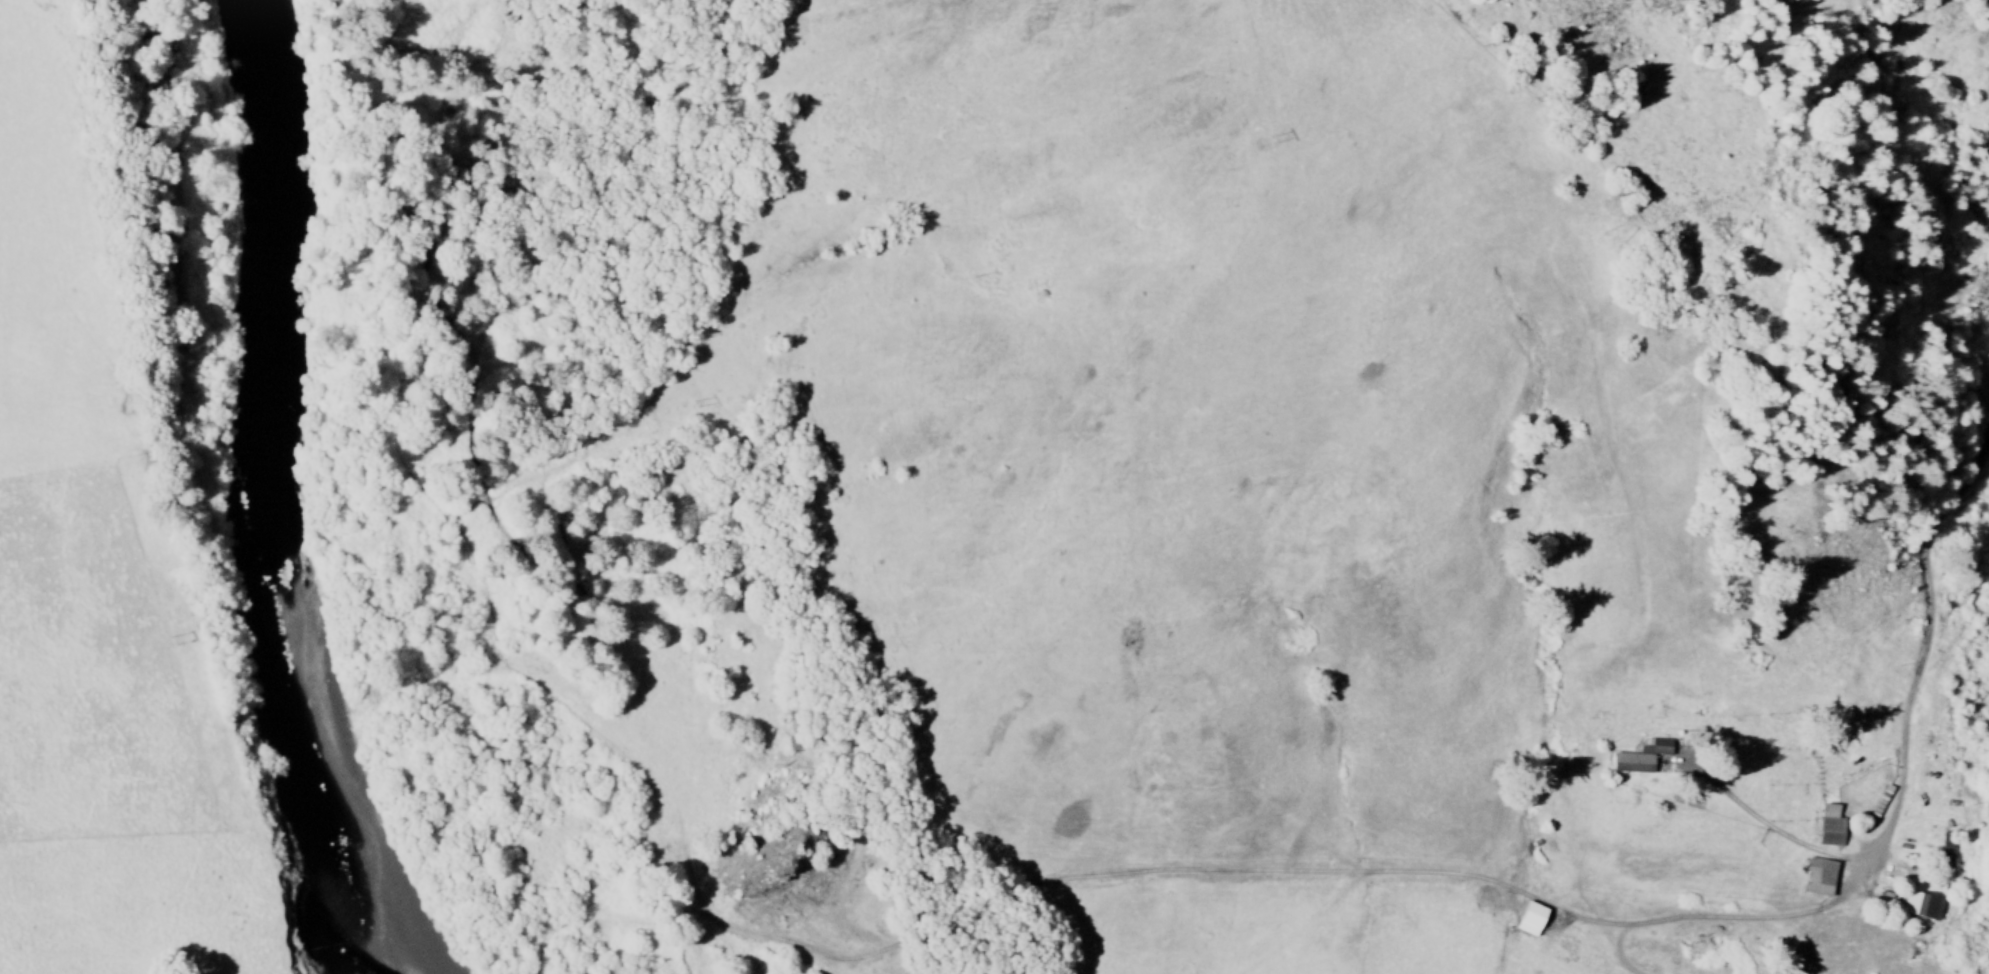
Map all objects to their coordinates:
river: (257, 501)
road: (1922, 653)
building: (1643, 759)
building: (1829, 826)
building: (1947, 849)
building: (1817, 877)
building: (1925, 908)

